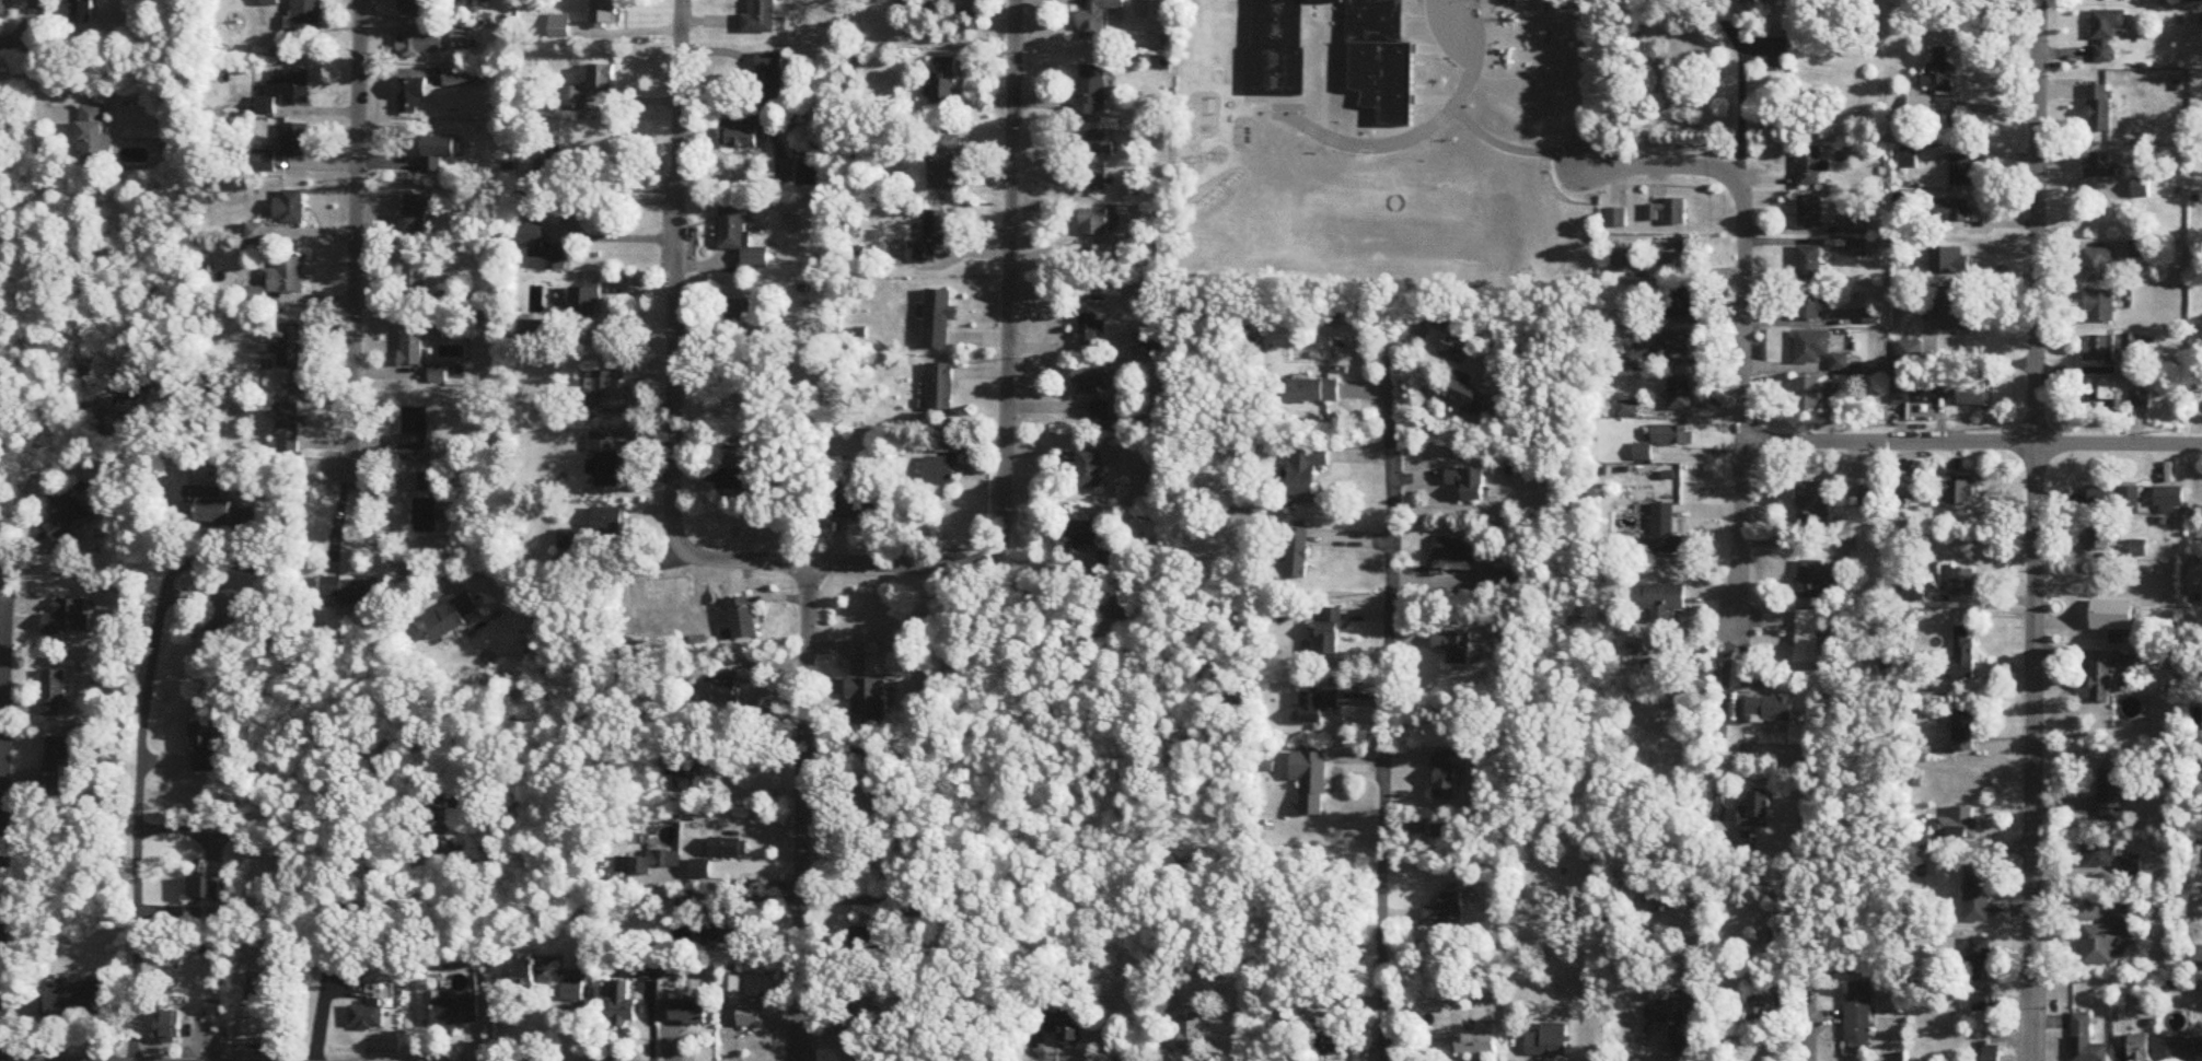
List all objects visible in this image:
building: (418, 8)
building: (3, 9)
building: (82, 12)
building: (604, 12)
building: (306, 14)
building: (761, 18)
building: (1097, 19)
building: (2107, 34)
building: (462, 39)
road: (16, 44)
building: (419, 45)
building: (1778, 49)
road: (34, 68)
building: (1276, 69)
building: (1940, 71)
building: (463, 79)
building: (602, 79)
road: (1734, 79)
building: (943, 83)
building: (287, 89)
building: (1091, 90)
building: (410, 94)
building: (573, 100)
building: (2101, 109)
building: (93, 137)
building: (740, 139)
building: (294, 140)
building: (1099, 144)
building: (1909, 159)
building: (265, 161)
building: (552, 162)
building: (948, 163)
road: (1661, 168)
building: (1813, 168)
building: (2100, 168)
building: (1961, 171)
building: (809, 174)
building: (2141, 189)
building: (289, 208)
building: (1952, 210)
building: (1810, 212)
building: (417, 213)
building: (1667, 213)
building: (1616, 219)
building: (1099, 223)
building: (935, 224)
building: (1859, 225)
road: (355, 231)
building: (253, 234)
road: (614, 236)
building: (741, 238)
building: (541, 249)
building: (2140, 250)
building: (925, 253)
building: (1672, 255)
building: (1622, 263)
building: (1809, 264)
building: (2099, 266)
building: (413, 279)
building: (277, 282)
building: (584, 303)
building: (1680, 303)
building: (1810, 304)
building: (2100, 307)
building: (1954, 308)
building: (731, 316)
building: (939, 319)
building: (1091, 330)
road: (675, 337)
building: (1156, 340)
building: (2139, 343)
building: (1682, 345)
building: (290, 347)
road: (1079, 348)
building: (410, 349)
building: (1455, 350)
building: (2099, 350)
building: (1818, 351)
building: (1911, 358)
road: (1006, 372)
building: (728, 373)
building: (1091, 381)
building: (941, 388)
building: (603, 389)
building: (1314, 390)
building: (1969, 394)
building: (1464, 395)
building: (1680, 395)
building: (1914, 395)
building: (1807, 396)
building: (2106, 397)
building: (2139, 400)
road: (1741, 405)
building: (1103, 411)
building: (288, 429)
building: (413, 430)
building: (1670, 436)
road: (1971, 442)
building: (605, 457)
building: (1090, 469)
building: (1306, 469)
building: (940, 474)
building: (1468, 479)
building: (732, 481)
building: (427, 482)
building: (1904, 488)
building: (1960, 491)
building: (2101, 495)
building: (2130, 497)
building: (1873, 499)
building: (2169, 500)
building: (1813, 504)
building: (853, 508)
building: (68, 514)
building: (233, 516)
building: (426, 516)
building: (607, 525)
road: (2035, 529)
building: (1666, 532)
building: (1083, 536)
building: (2099, 538)
building: (571, 540)
road: (378, 543)
building: (2139, 549)
building: (1296, 550)
building: (1453, 553)
road: (629, 568)
building: (1820, 579)
building: (1963, 582)
building: (349, 591)
building: (1915, 595)
road: (1, 598)
building: (1660, 599)
building: (1123, 607)
building: (2102, 615)
building: (452, 616)
building: (228, 617)
building: (742, 618)
building: (1328, 628)
building: (1808, 637)
building: (1453, 644)
building: (1965, 652)
road: (1, 674)
building: (2101, 681)
road: (1388, 683)
building: (722, 692)
building: (55, 693)
building: (869, 700)
building: (1318, 703)
building: (1771, 709)
road: (1722, 721)
building: (1965, 731)
building: (206, 748)
building: (58, 765)
building: (694, 772)
road: (141, 773)
building: (1441, 776)
building: (879, 785)
building: (1313, 786)
building: (2113, 797)
building: (1755, 811)
road: (802, 813)
building: (1958, 825)
building: (441, 826)
building: (730, 848)
building: (2098, 854)
building: (650, 862)
building: (2132, 868)
building: (702, 870)
road: (734, 882)
building: (207, 888)
building: (1977, 895)
building: (686, 906)
building: (923, 908)
building: (1447, 908)
building: (727, 928)
road: (332, 930)
building: (876, 937)
building: (2108, 937)
building: (1783, 941)
building: (1979, 957)
building: (526, 969)
building: (257, 987)
building: (77, 1000)
building: (1980, 1003)
building: (622, 1004)
building: (1762, 1008)
building: (456, 1012)
building: (688, 1012)
building: (753, 1015)
building: (1659, 1015)
building: (1858, 1015)
building: (367, 1016)
building: (850, 1022)
building: (171, 1026)
building: (1064, 1026)
building: (1688, 1035)
building: (1191, 1036)
building: (2085, 1040)
building: (1480, 1041)
building: (1549, 1041)
building: (1330, 1045)
building: (2140, 1048)
building: (2184, 1049)
building: (1992, 1052)

